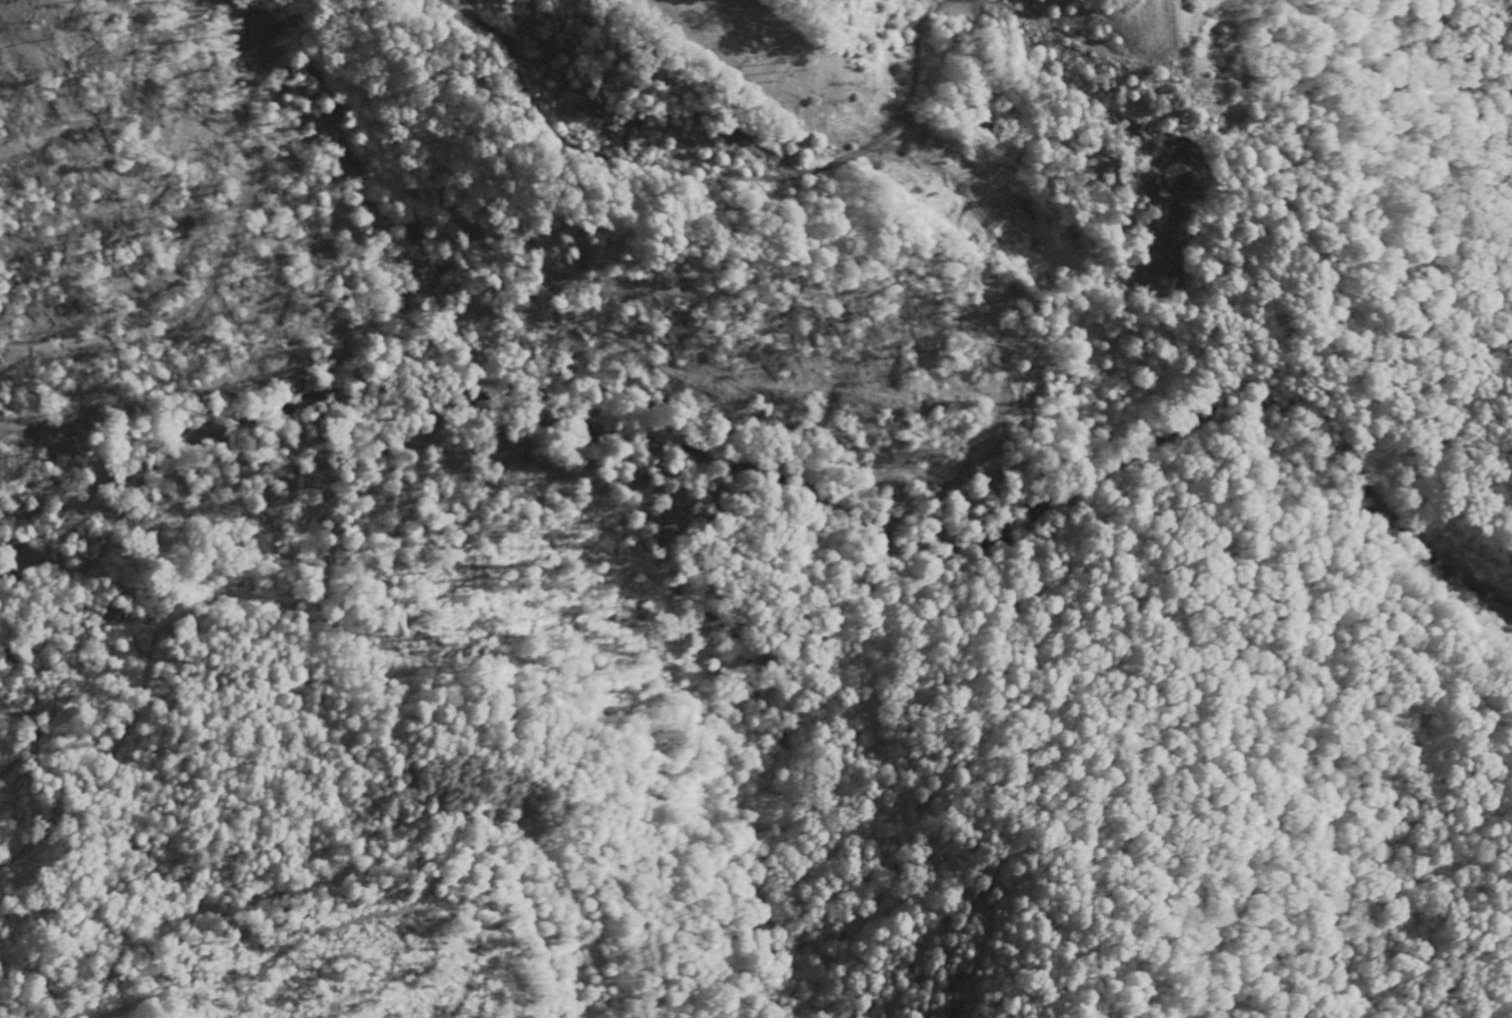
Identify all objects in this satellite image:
power tower: (787, 63)

